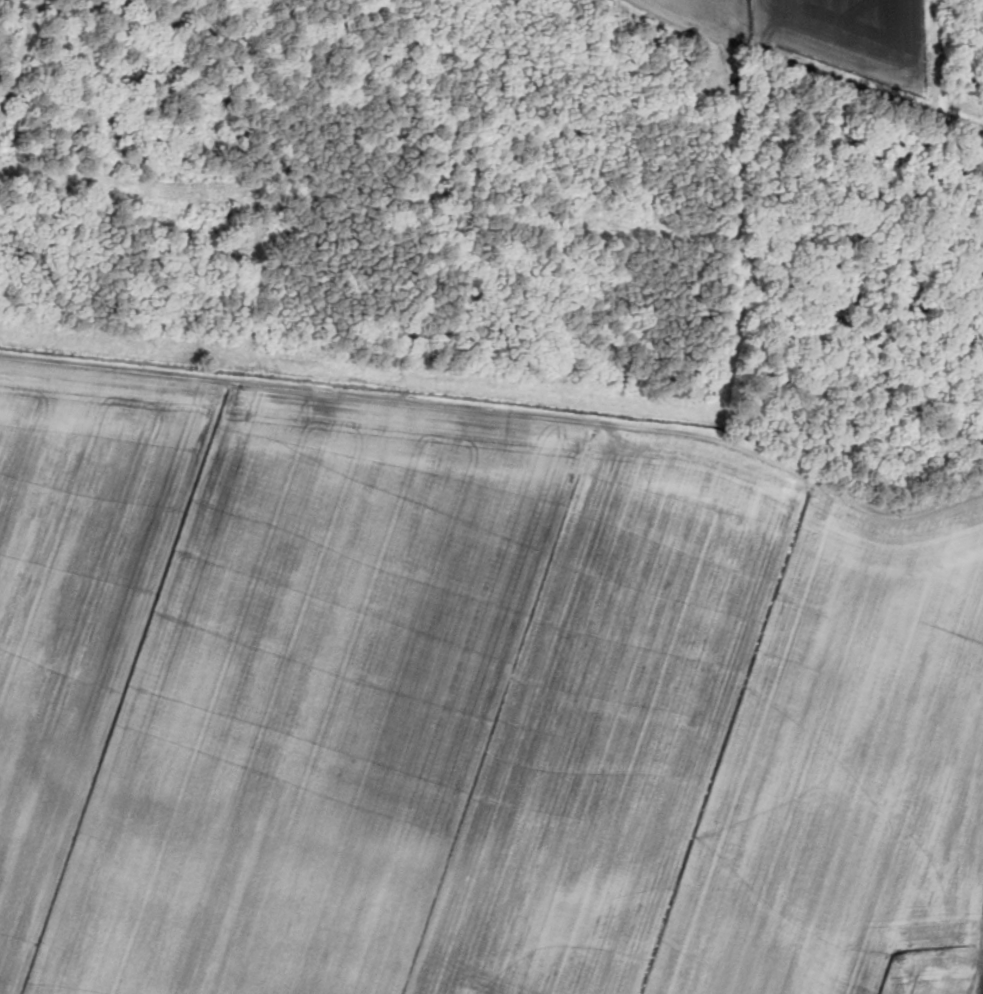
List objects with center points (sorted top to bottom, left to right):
road: (837, 69)

